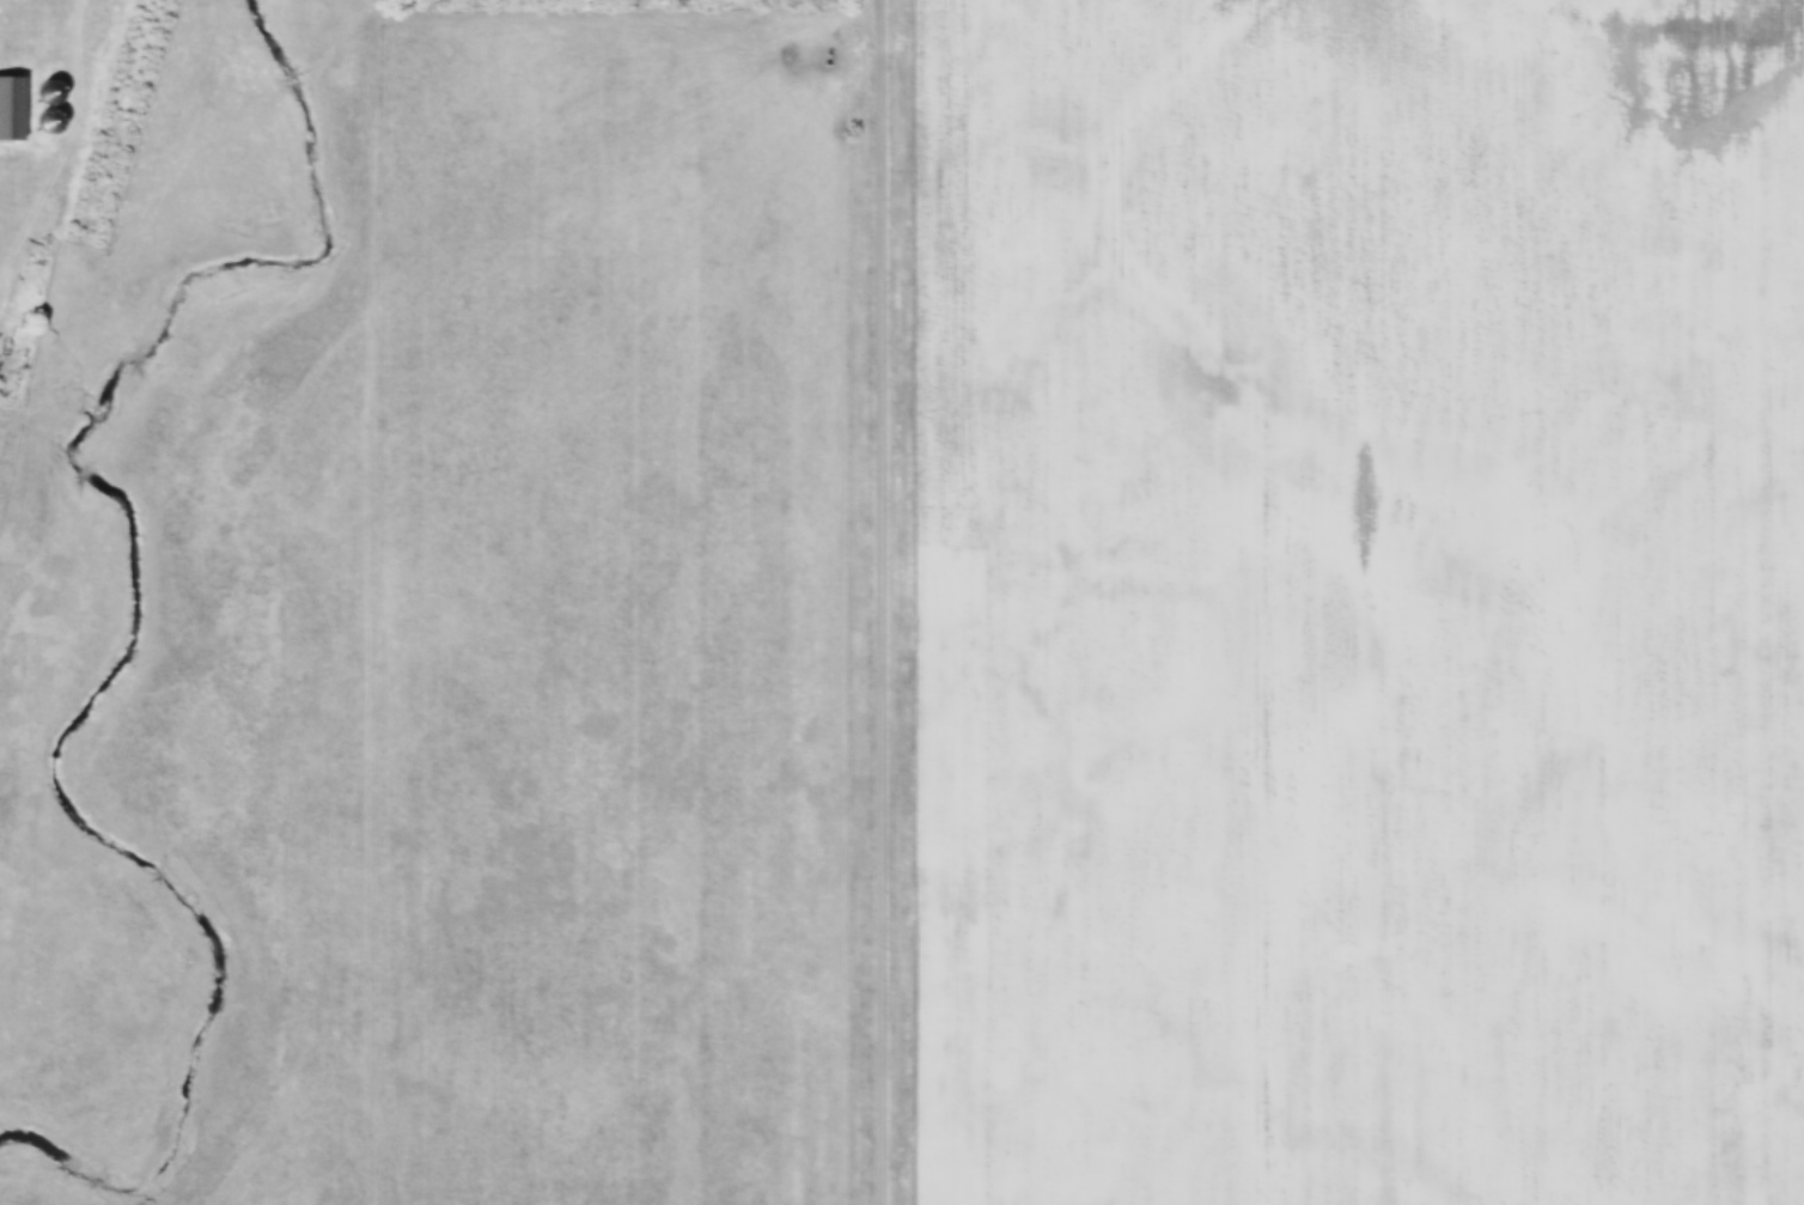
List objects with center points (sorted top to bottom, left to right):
building: (44, 91)
building: (10, 106)
road: (885, 602)

